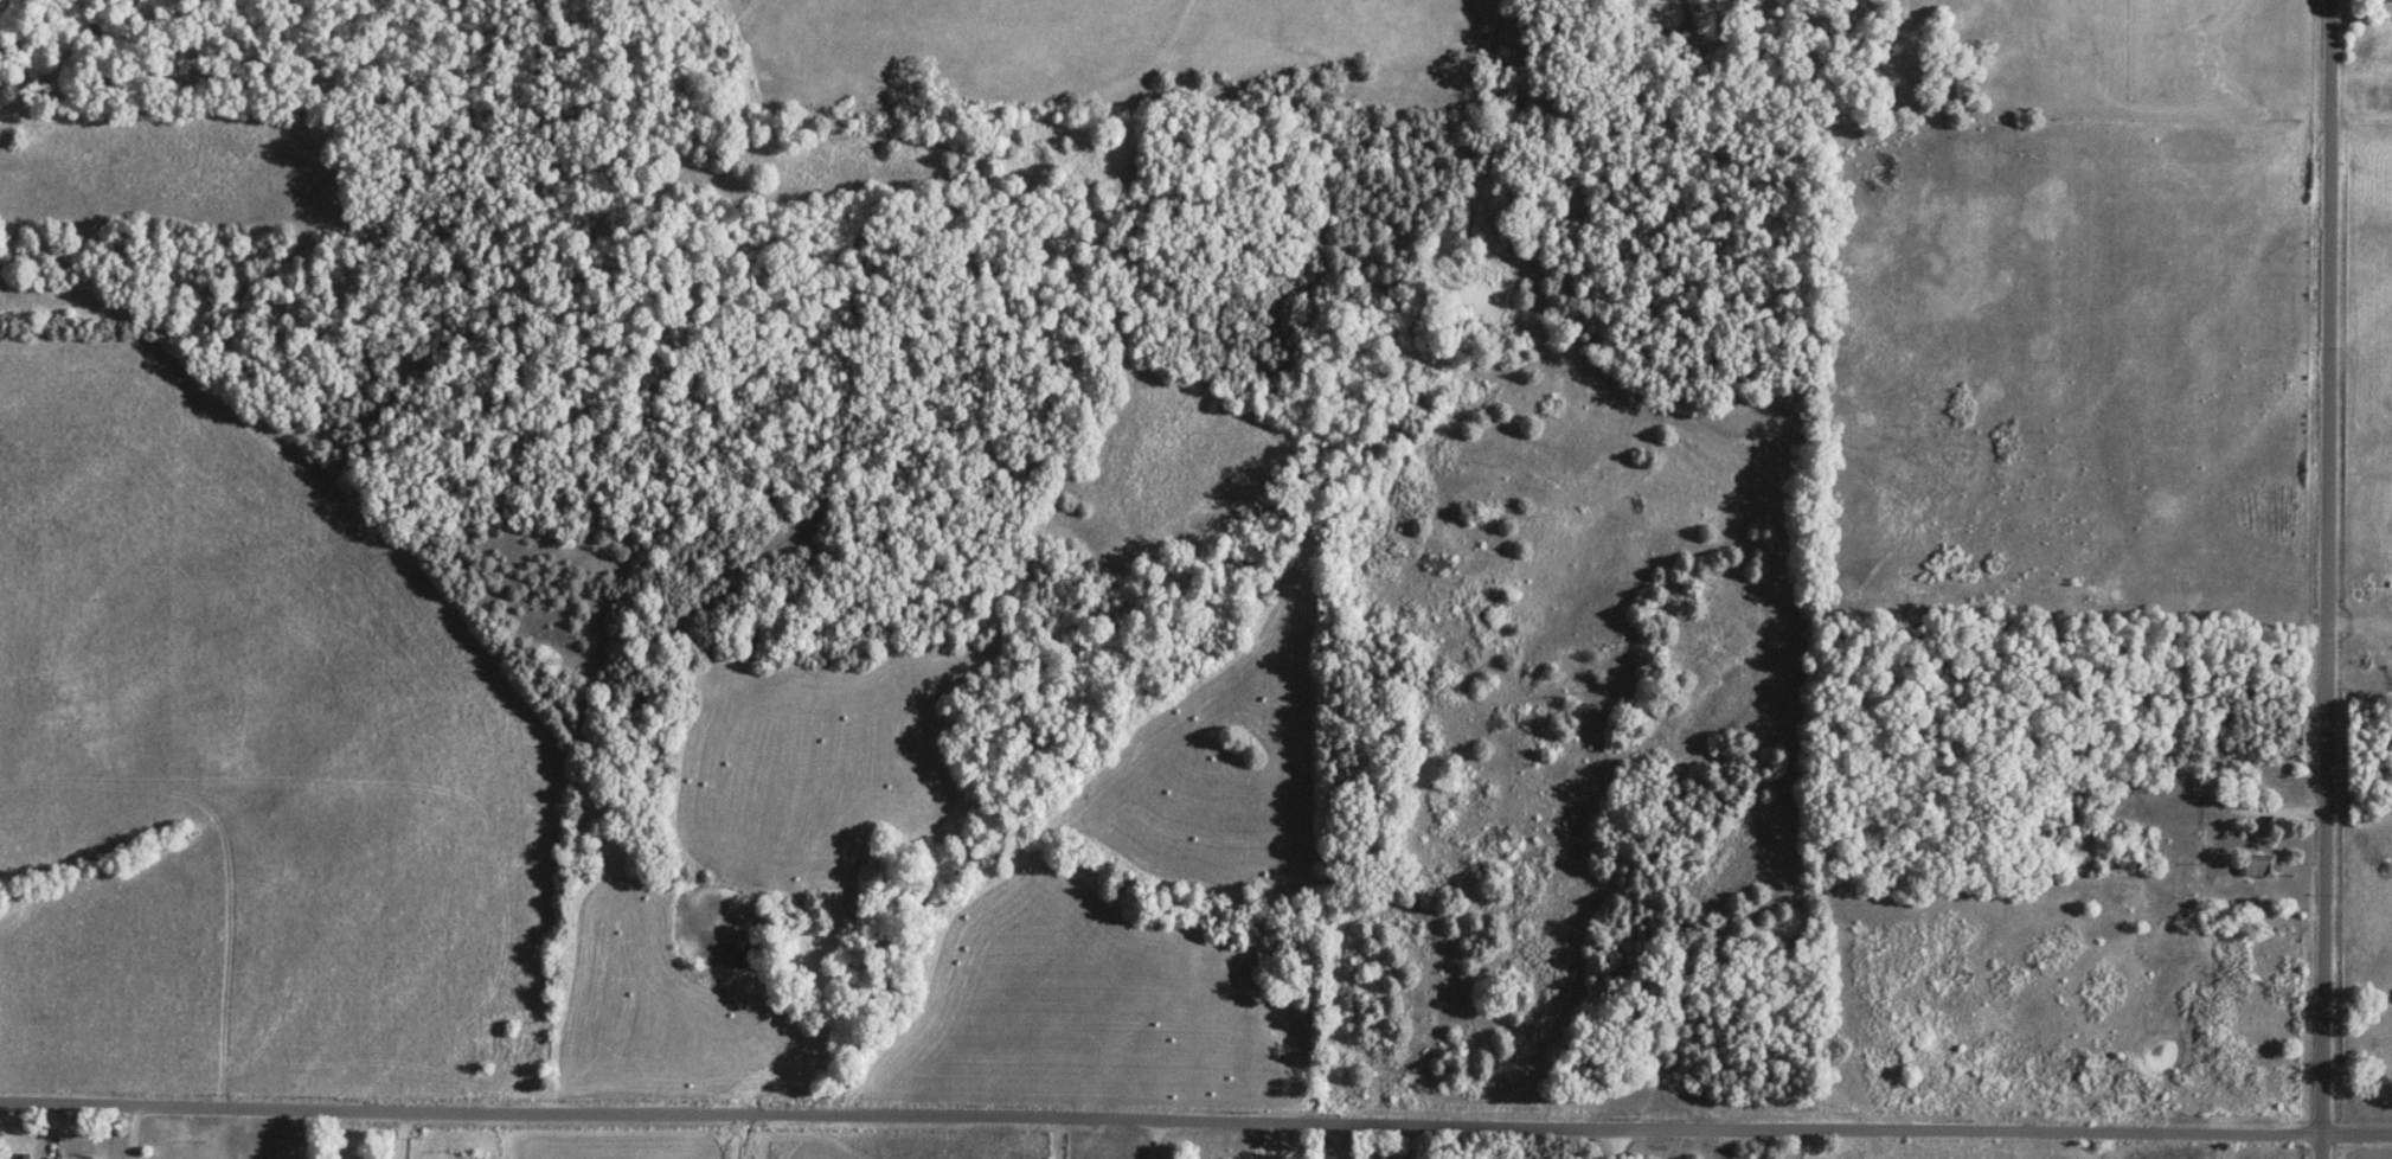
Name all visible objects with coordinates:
building: (2388, 1)
road: (2327, 579)
building: (2233, 782)
road: (2281, 808)
building: (2258, 864)
road: (1195, 1120)
road: (52, 1121)
road: (132, 1132)
road: (409, 1133)
road: (1155, 1138)
road: (1607, 1141)
road: (1789, 1141)
building: (23, 1157)
building: (53, 1158)

